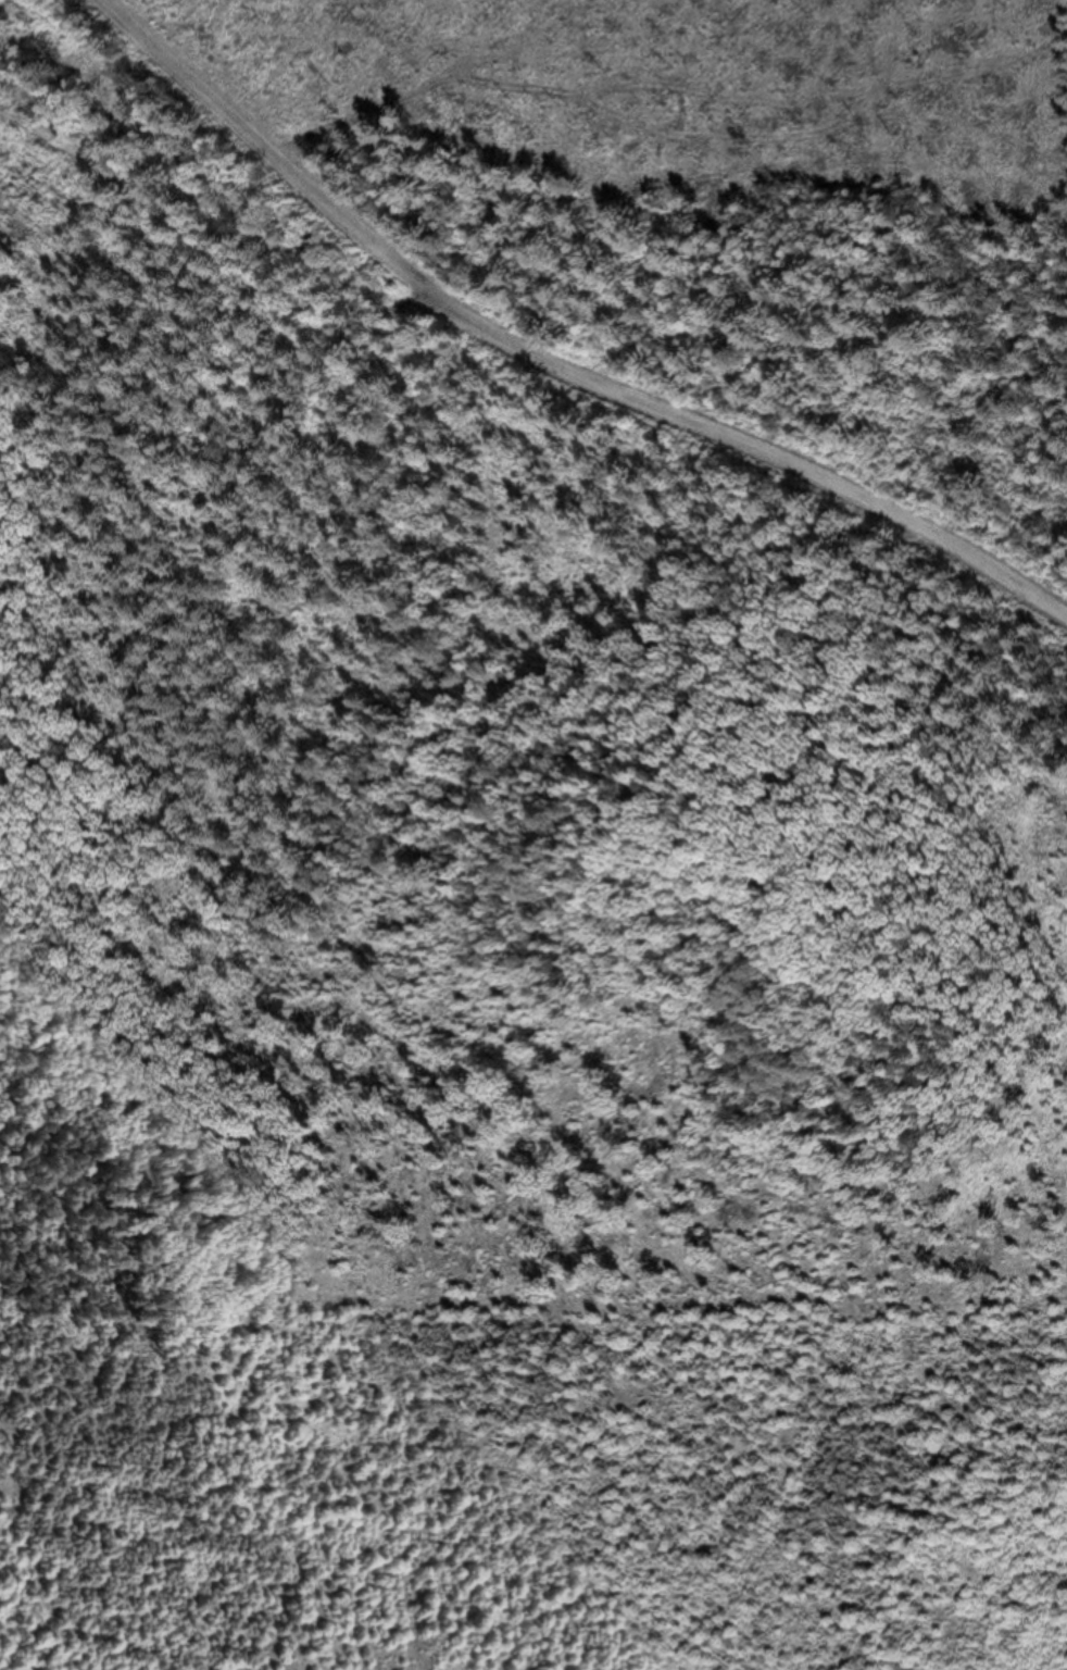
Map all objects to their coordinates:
road: (274, 159)
road: (211, 309)
road: (763, 458)

